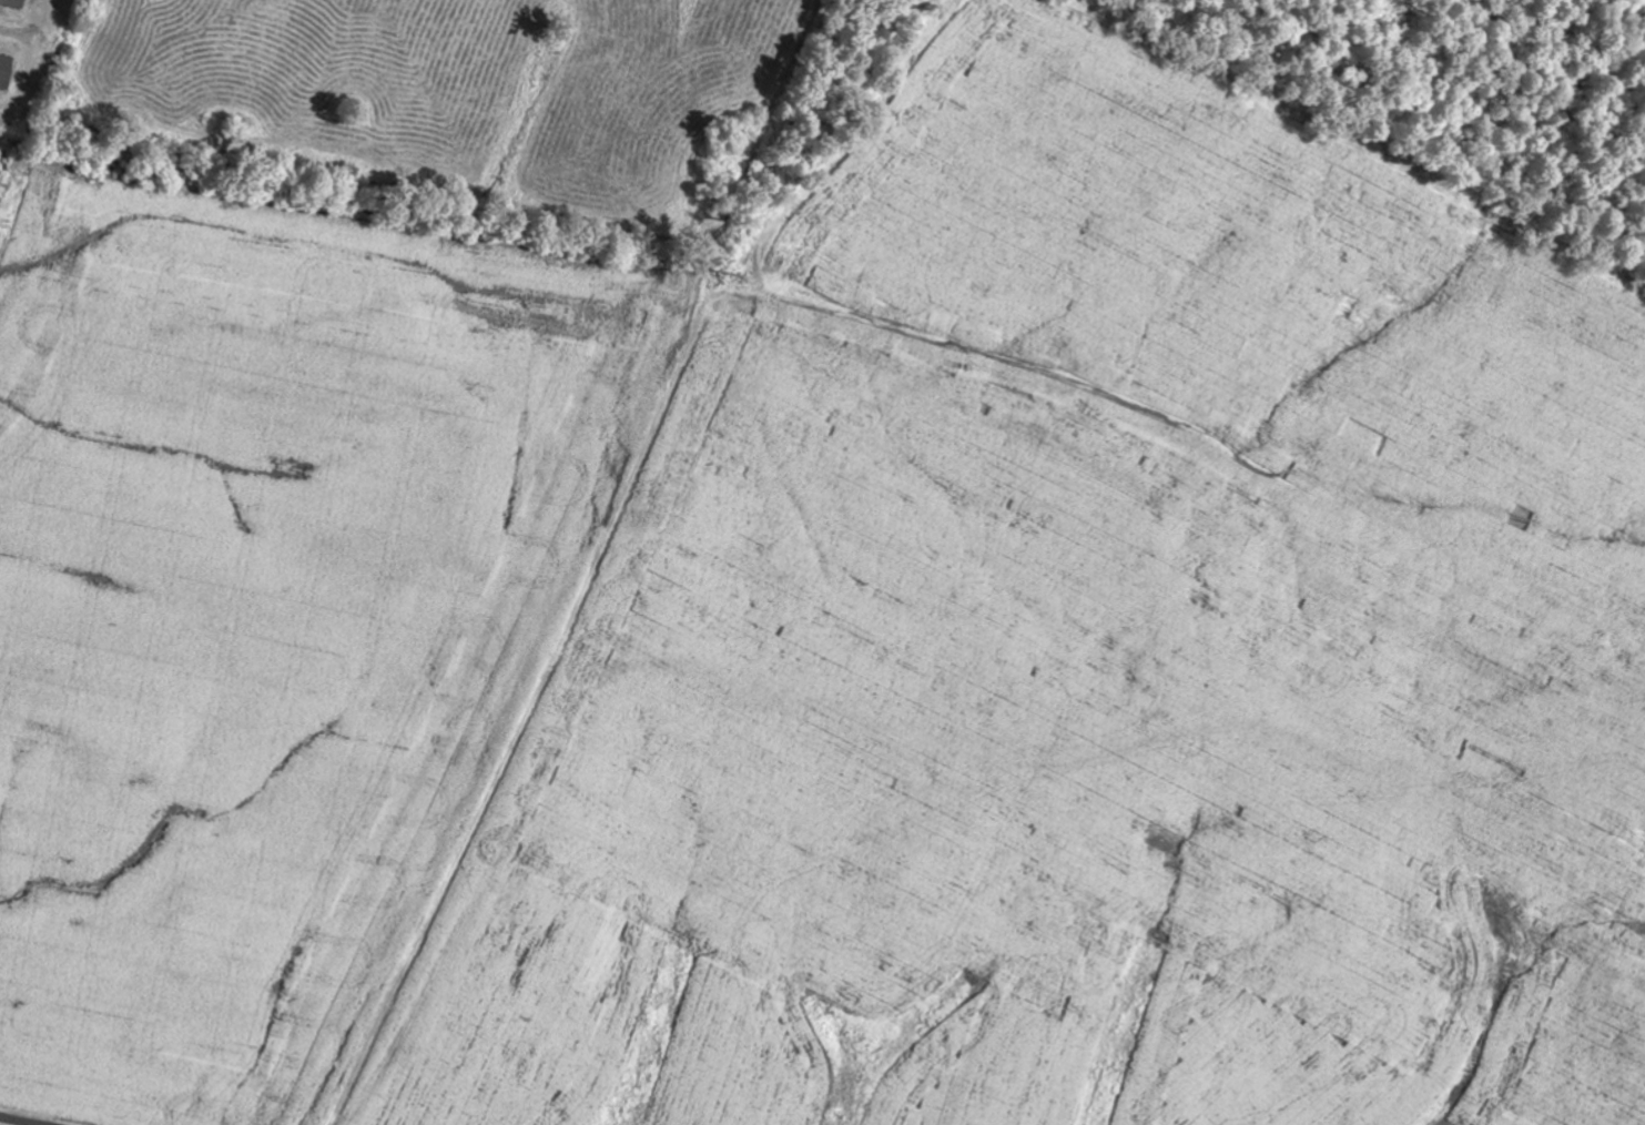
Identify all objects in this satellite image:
building: (14, 3)
building: (7, 67)
road: (20, 1121)

